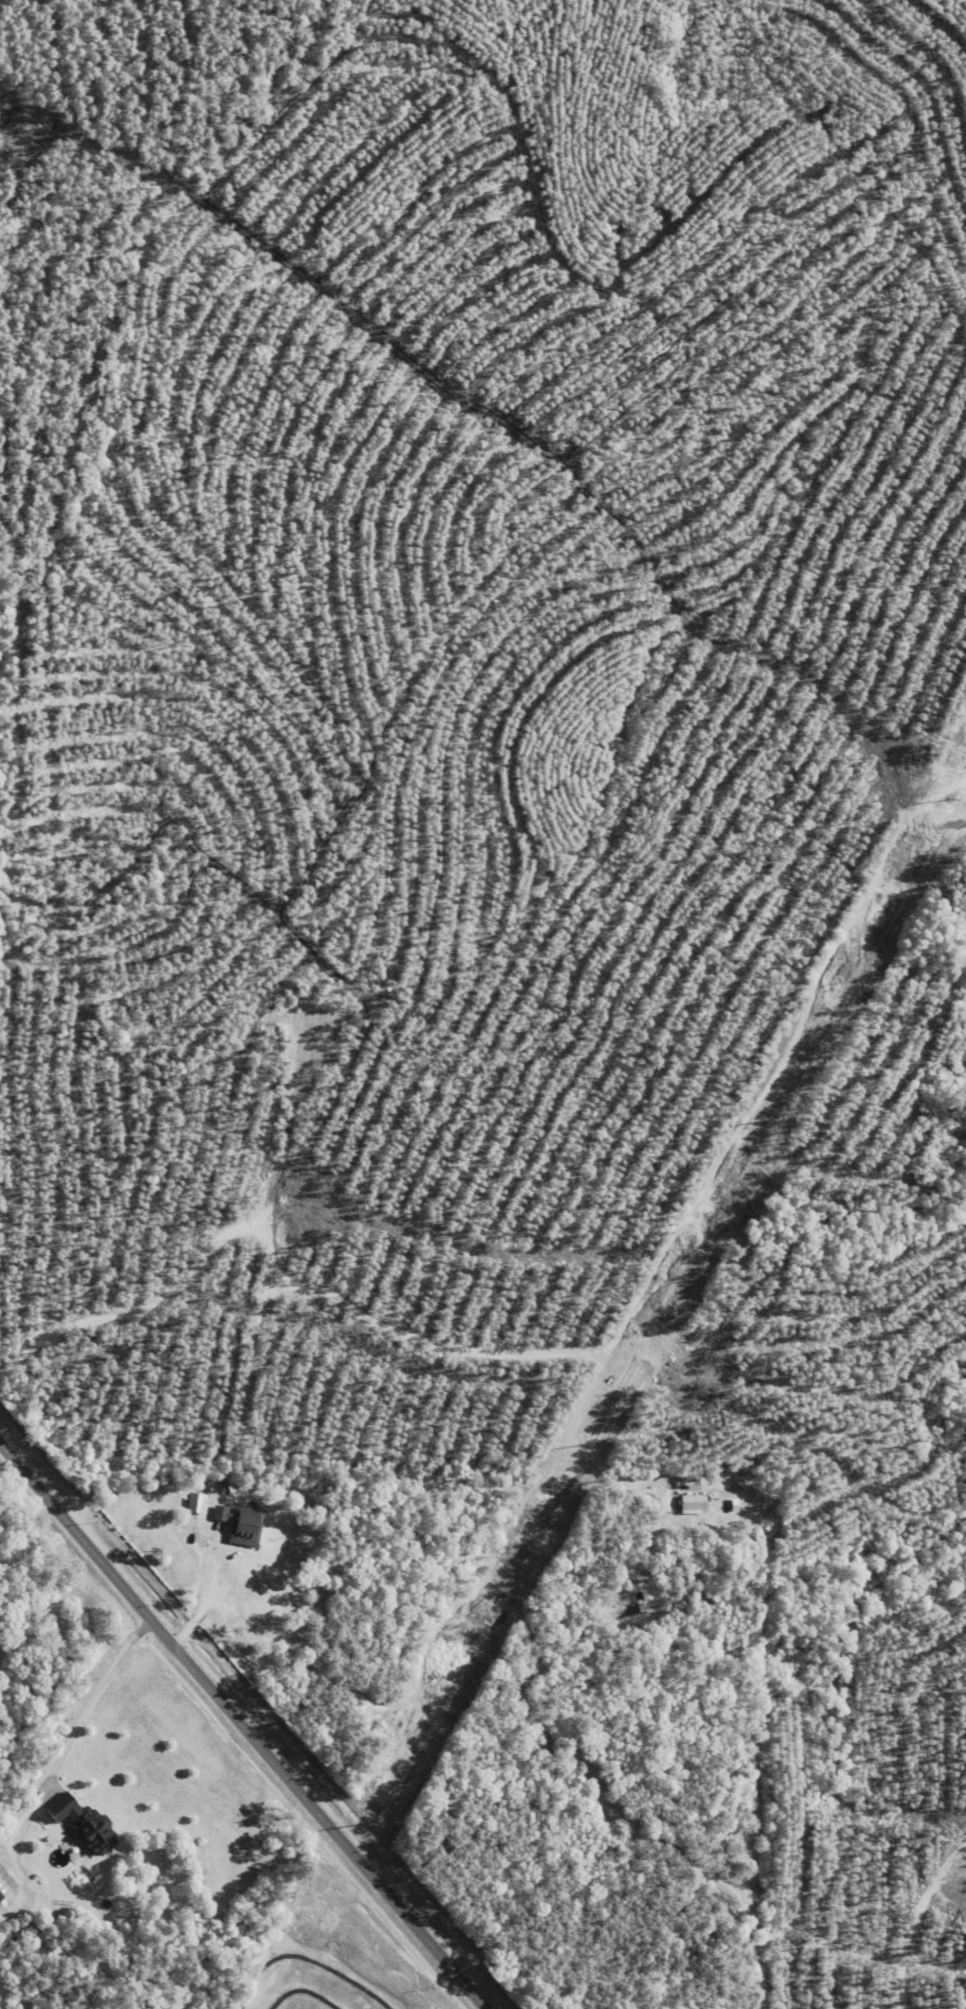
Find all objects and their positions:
building: (194, 1503)
building: (689, 1504)
building: (217, 1512)
building: (242, 1526)
road: (205, 1598)
road: (87, 1704)
road: (242, 1727)
building: (78, 1824)
building: (5, 1884)

